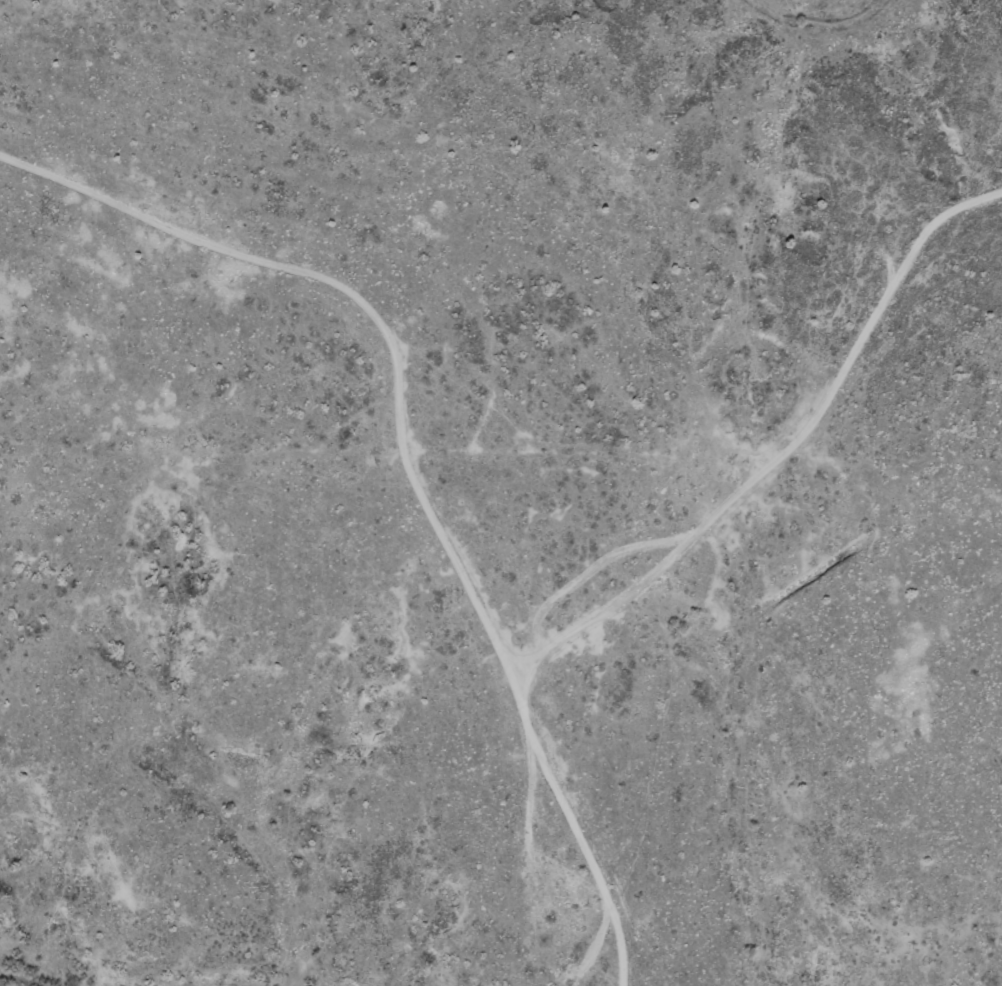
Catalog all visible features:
road: (145, 219)
road: (777, 448)
road: (456, 622)

